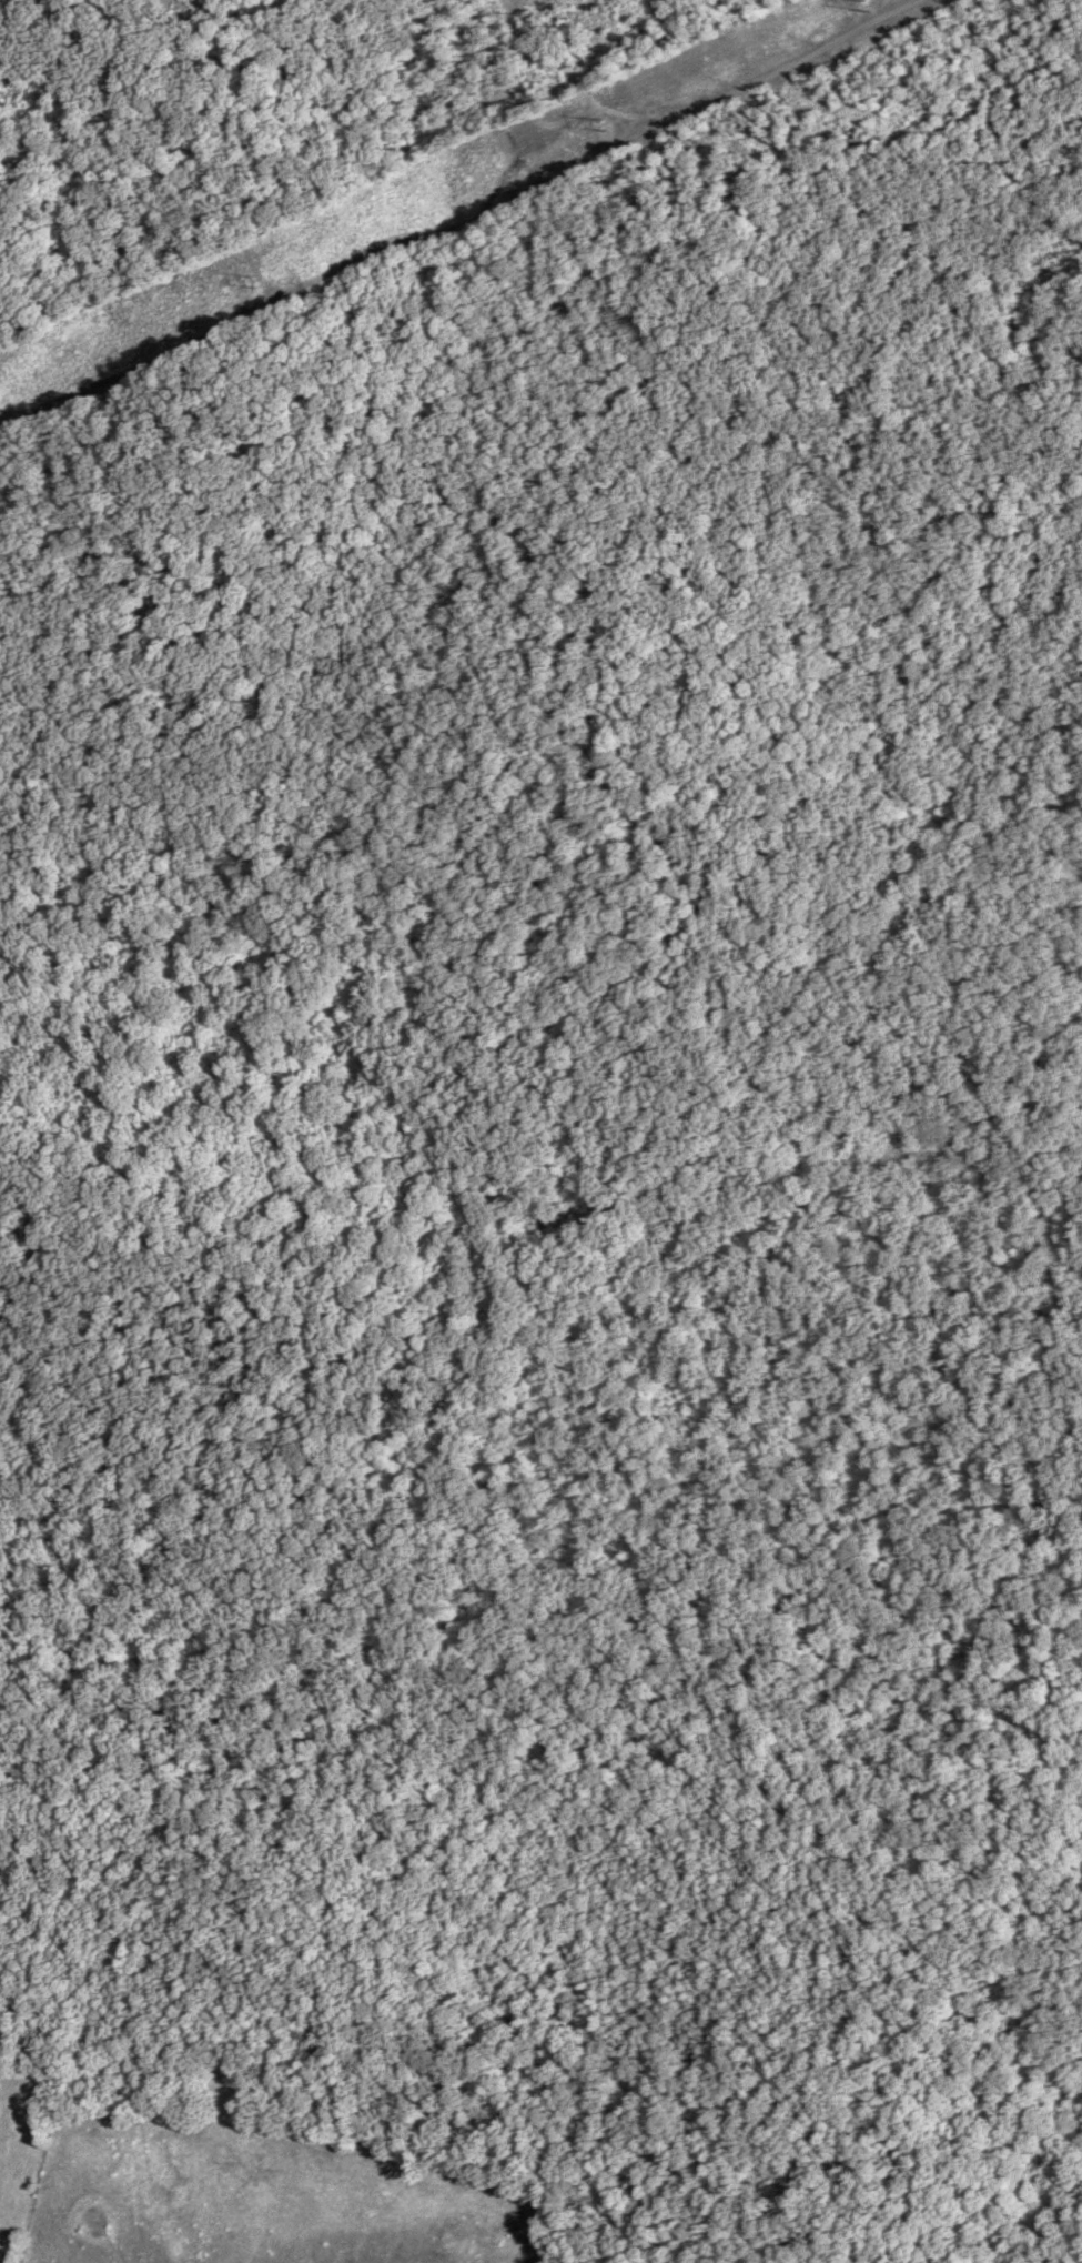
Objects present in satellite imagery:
road: (484, 214)

